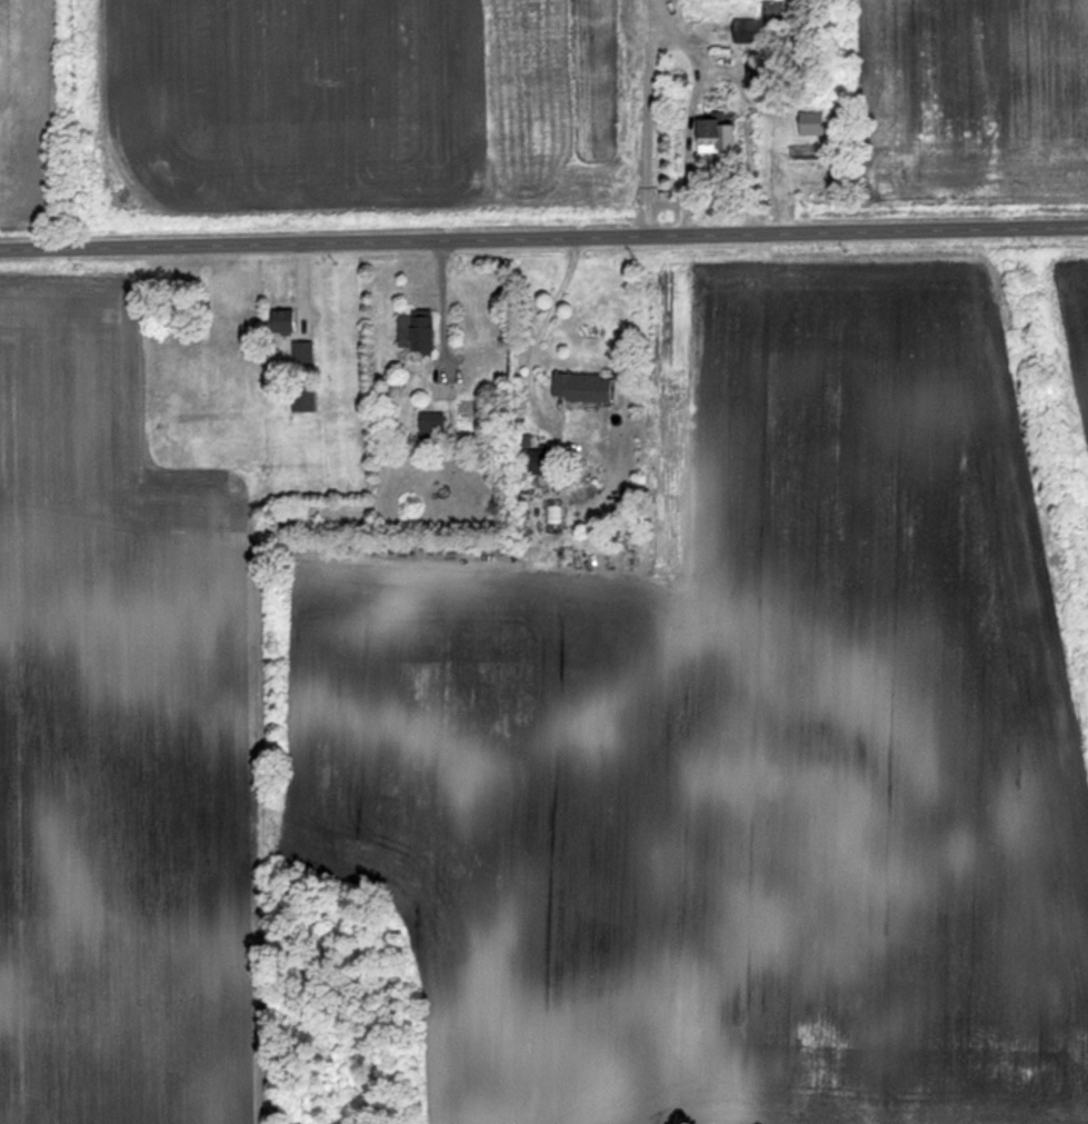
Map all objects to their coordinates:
building: (741, 32)
road: (716, 74)
road: (648, 117)
building: (807, 125)
building: (712, 133)
road: (543, 236)
building: (280, 321)
road: (543, 326)
building: (412, 332)
building: (577, 389)
building: (429, 427)
building: (529, 474)

